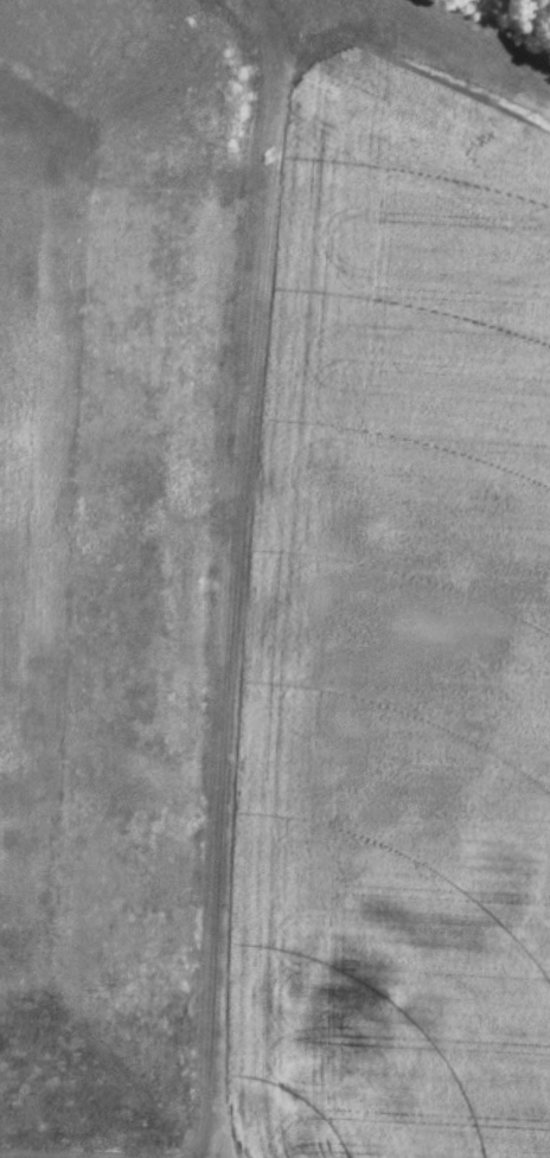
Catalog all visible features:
wastewater plant: (527, 12)

